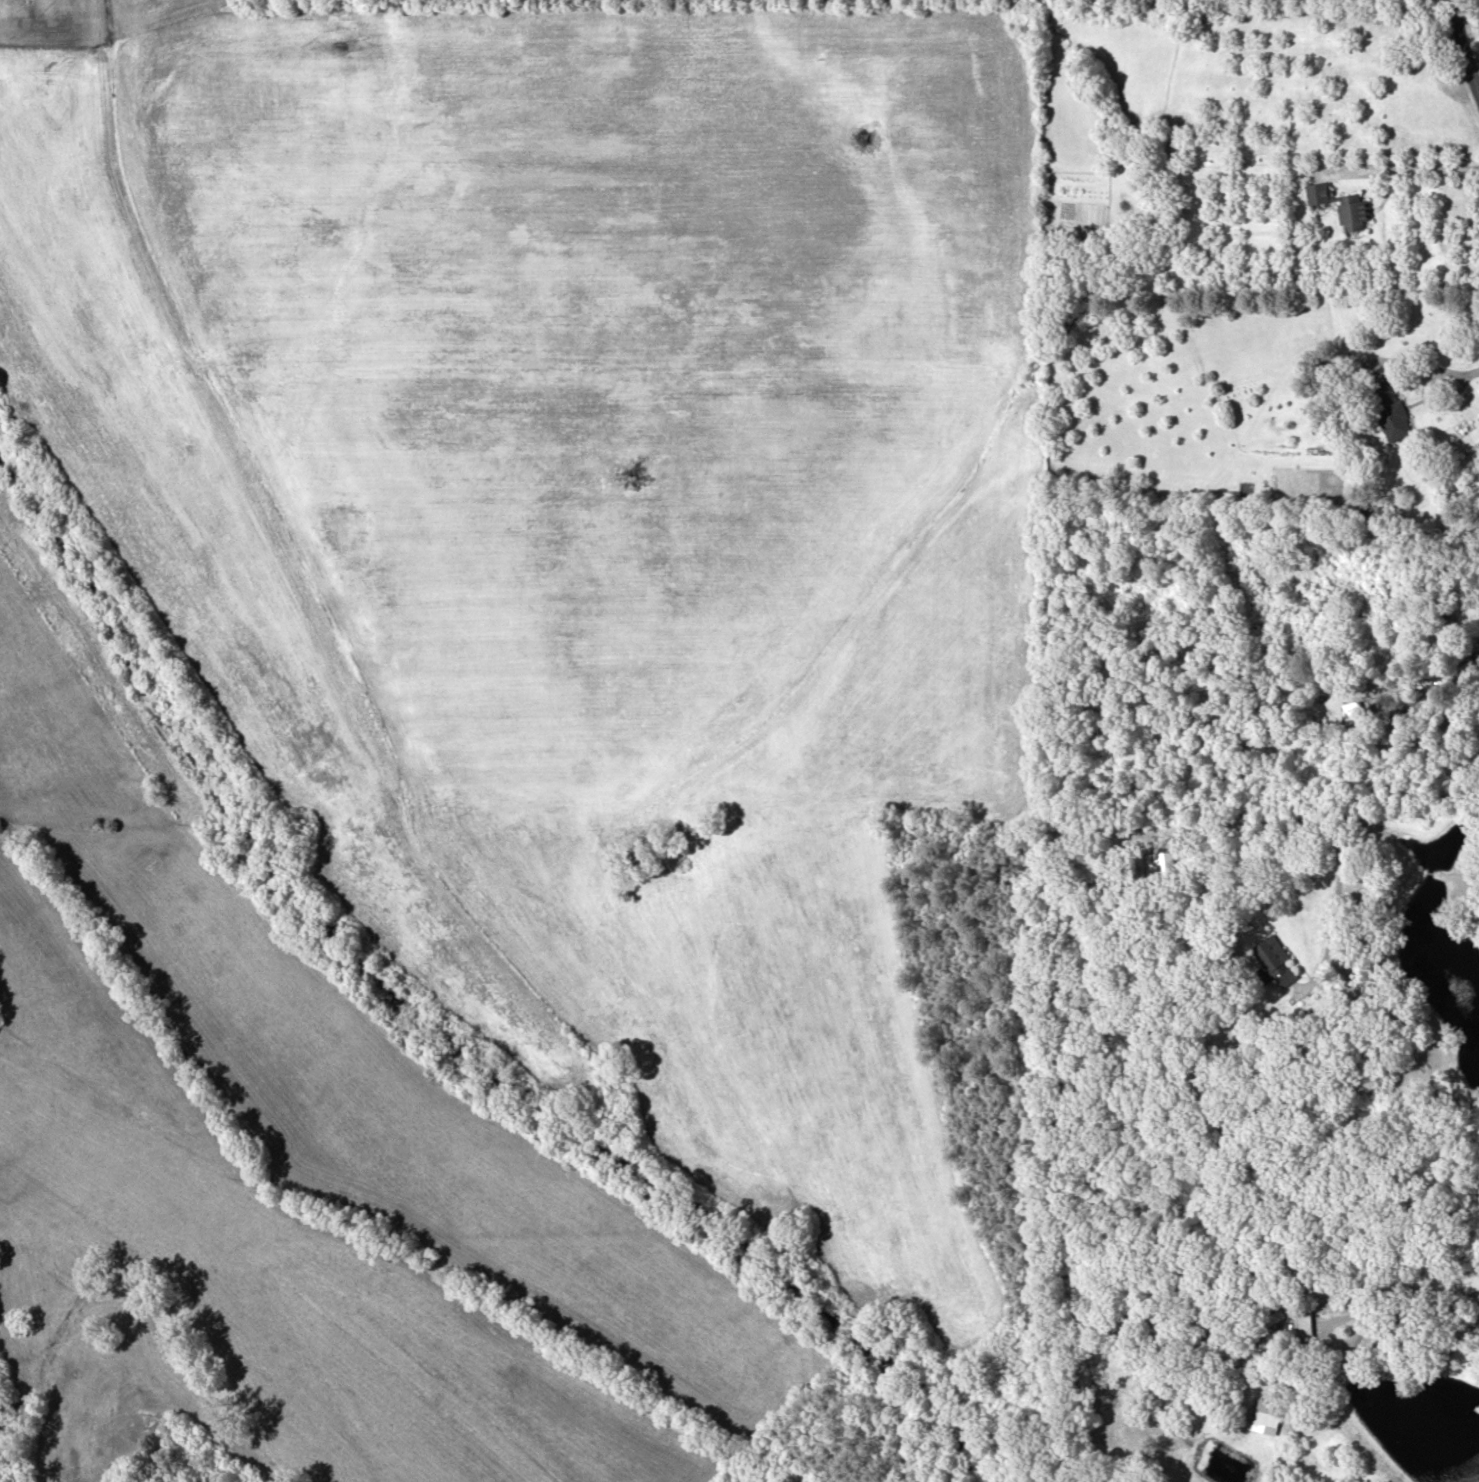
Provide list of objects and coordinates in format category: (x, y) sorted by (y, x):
road: (1463, 48)
road: (1406, 167)
building: (1318, 192)
building: (1352, 211)
road: (1470, 371)
road: (1423, 396)
building: (1388, 408)
road: (1435, 811)
building: (1161, 862)
building: (1275, 959)
road: (1384, 1307)
building: (1263, 1321)
building: (1266, 1414)

